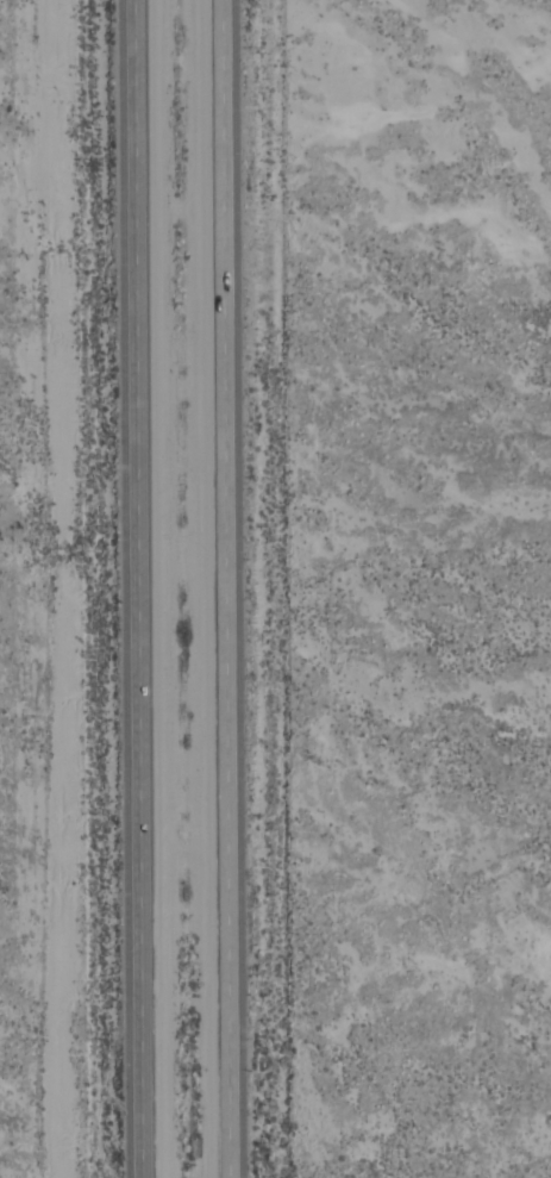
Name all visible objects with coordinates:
road: (138, 588)
road: (220, 588)

